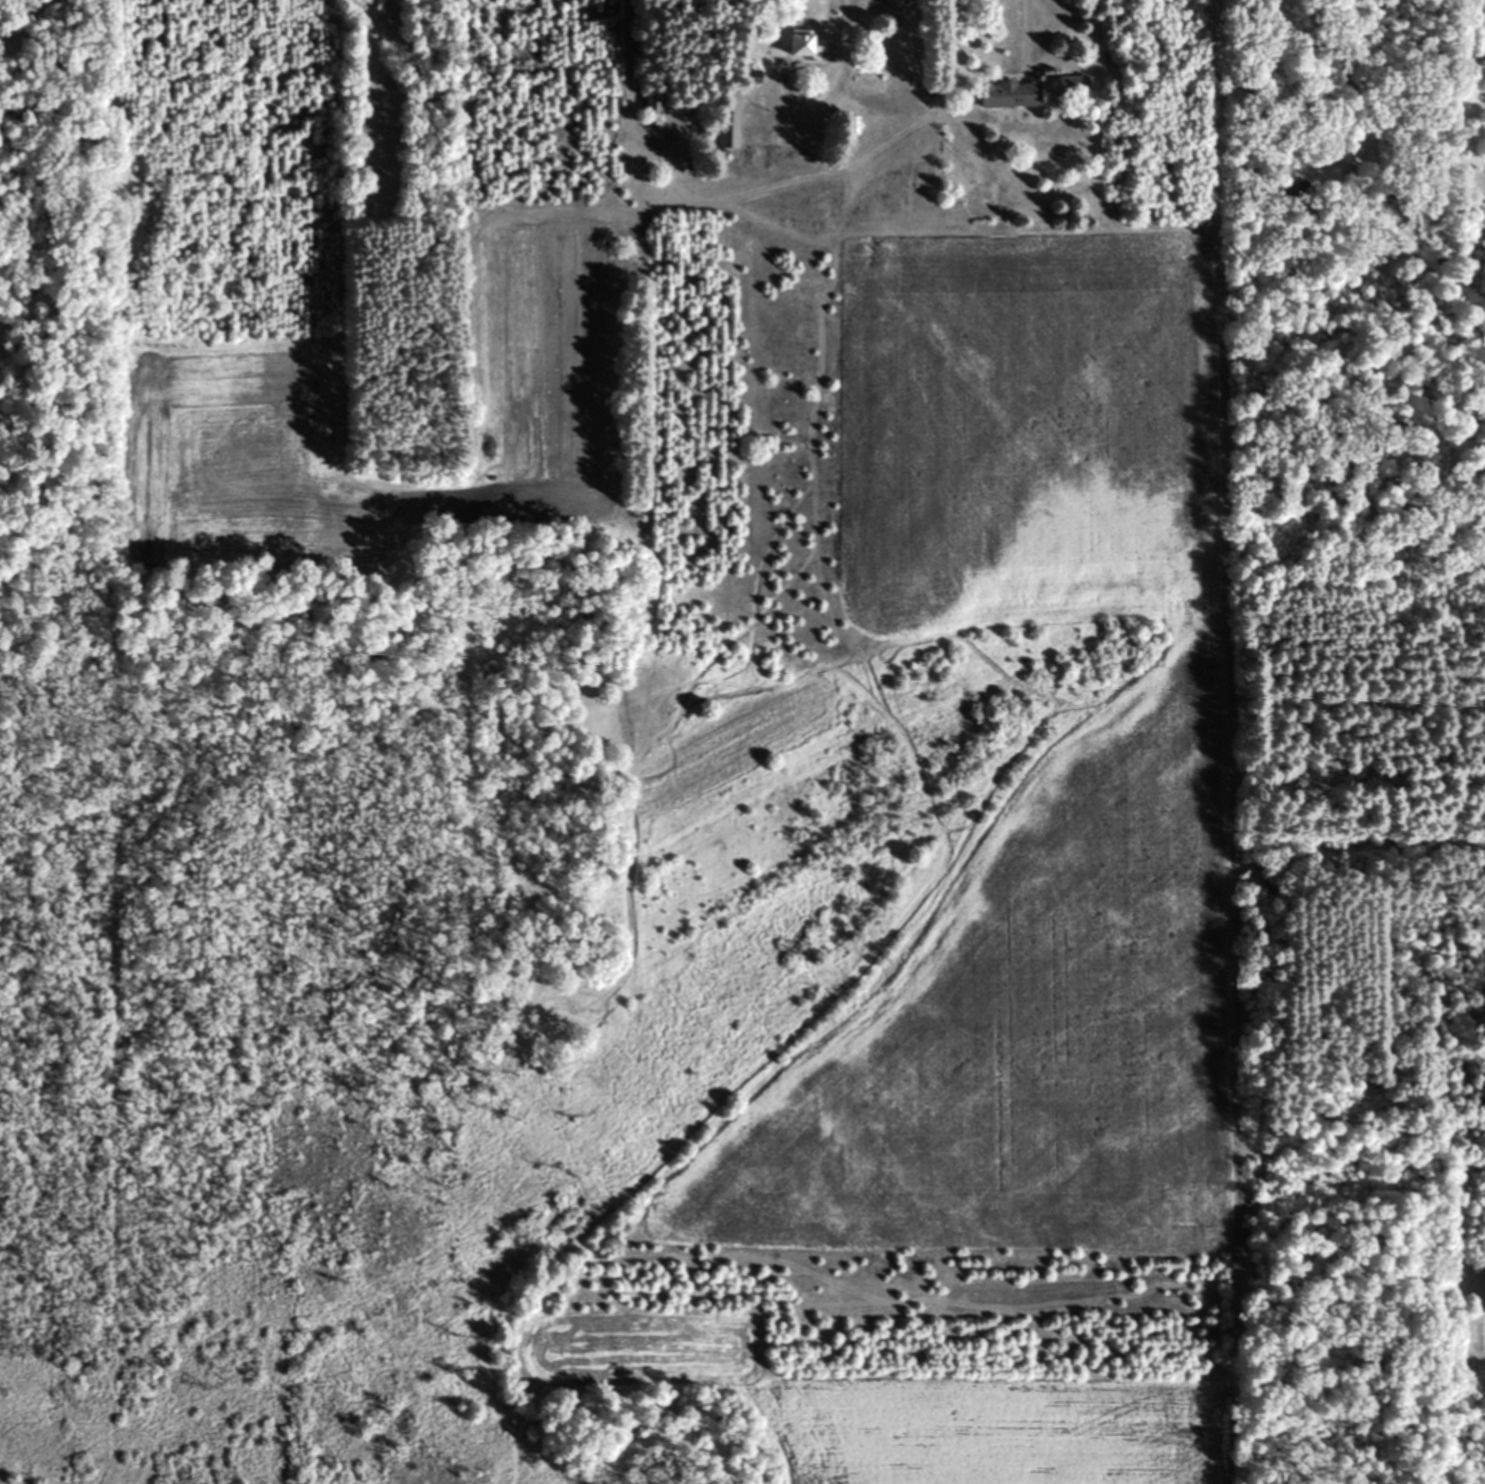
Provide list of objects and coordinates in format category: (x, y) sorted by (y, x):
road: (1019, 32)
building: (809, 42)
building: (1072, 84)
building: (1011, 92)
building: (654, 105)
building: (729, 128)
building: (802, 157)

